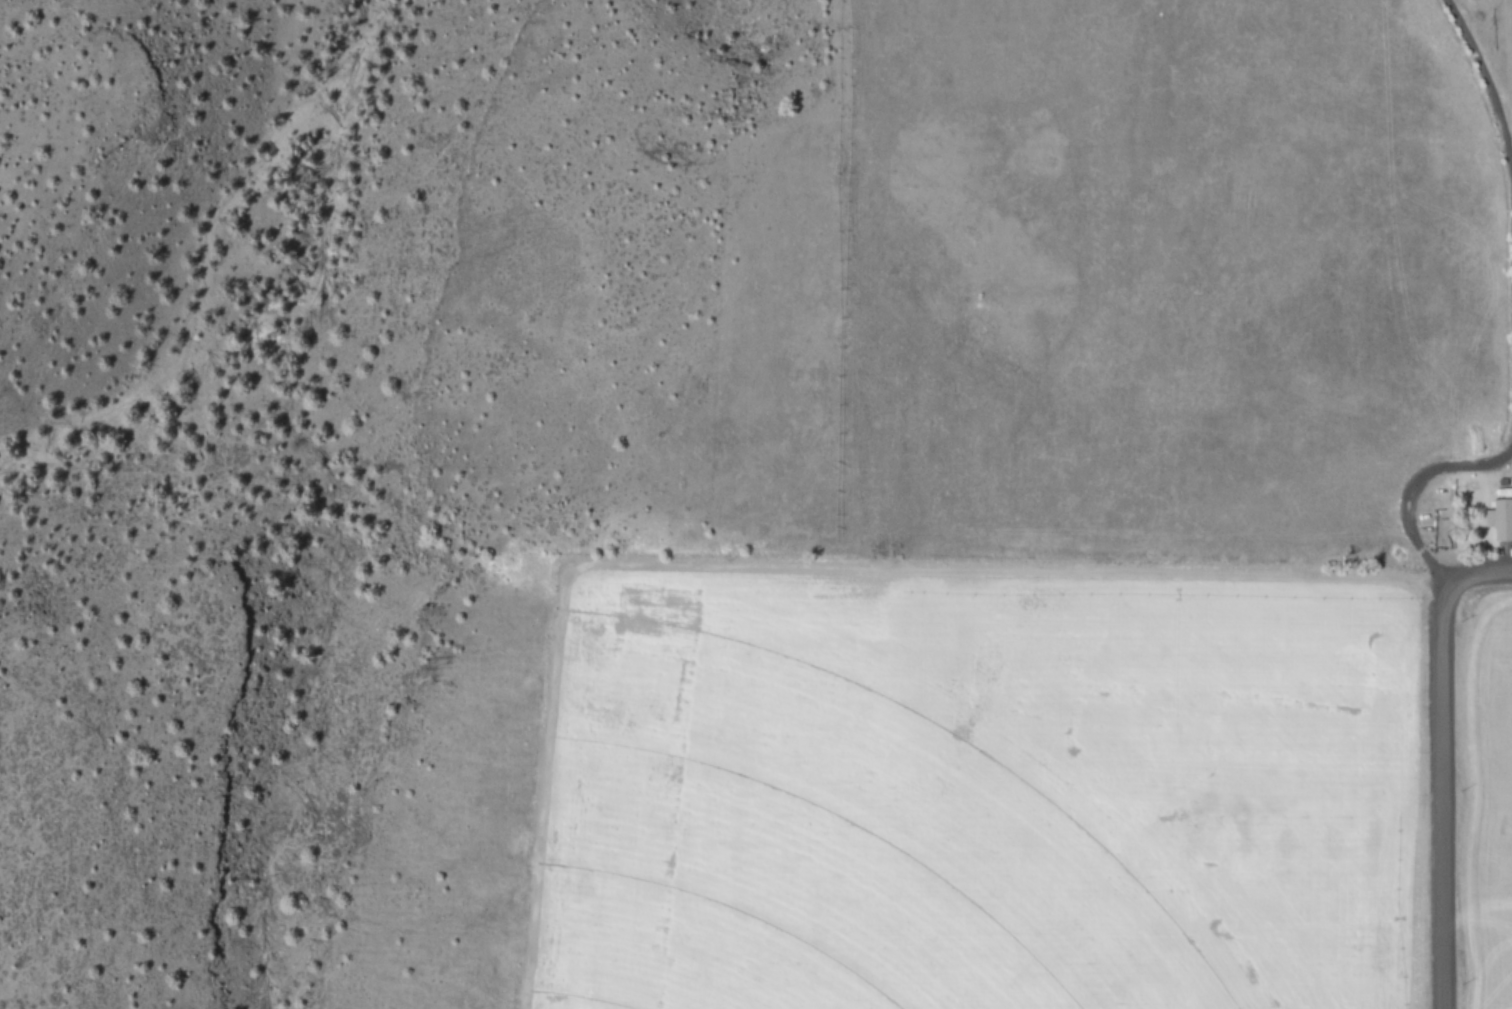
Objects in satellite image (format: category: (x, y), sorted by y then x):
road: (1488, 91)
crop: (1092, 292)
road: (1411, 486)
building: (1500, 518)
road: (1483, 572)
road: (1439, 792)
crop: (554, 820)

